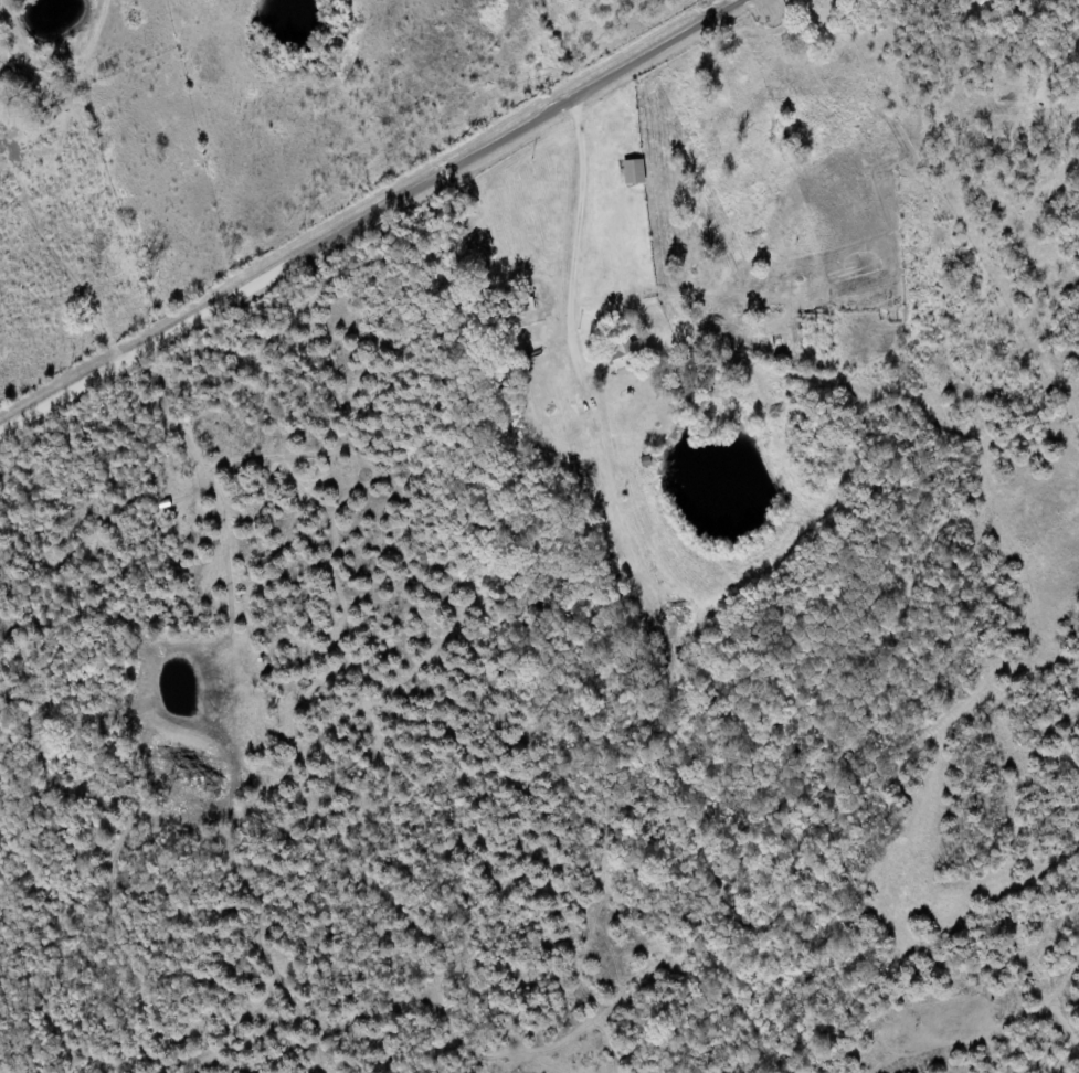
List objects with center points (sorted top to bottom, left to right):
building: (635, 172)
road: (375, 219)
building: (630, 354)

